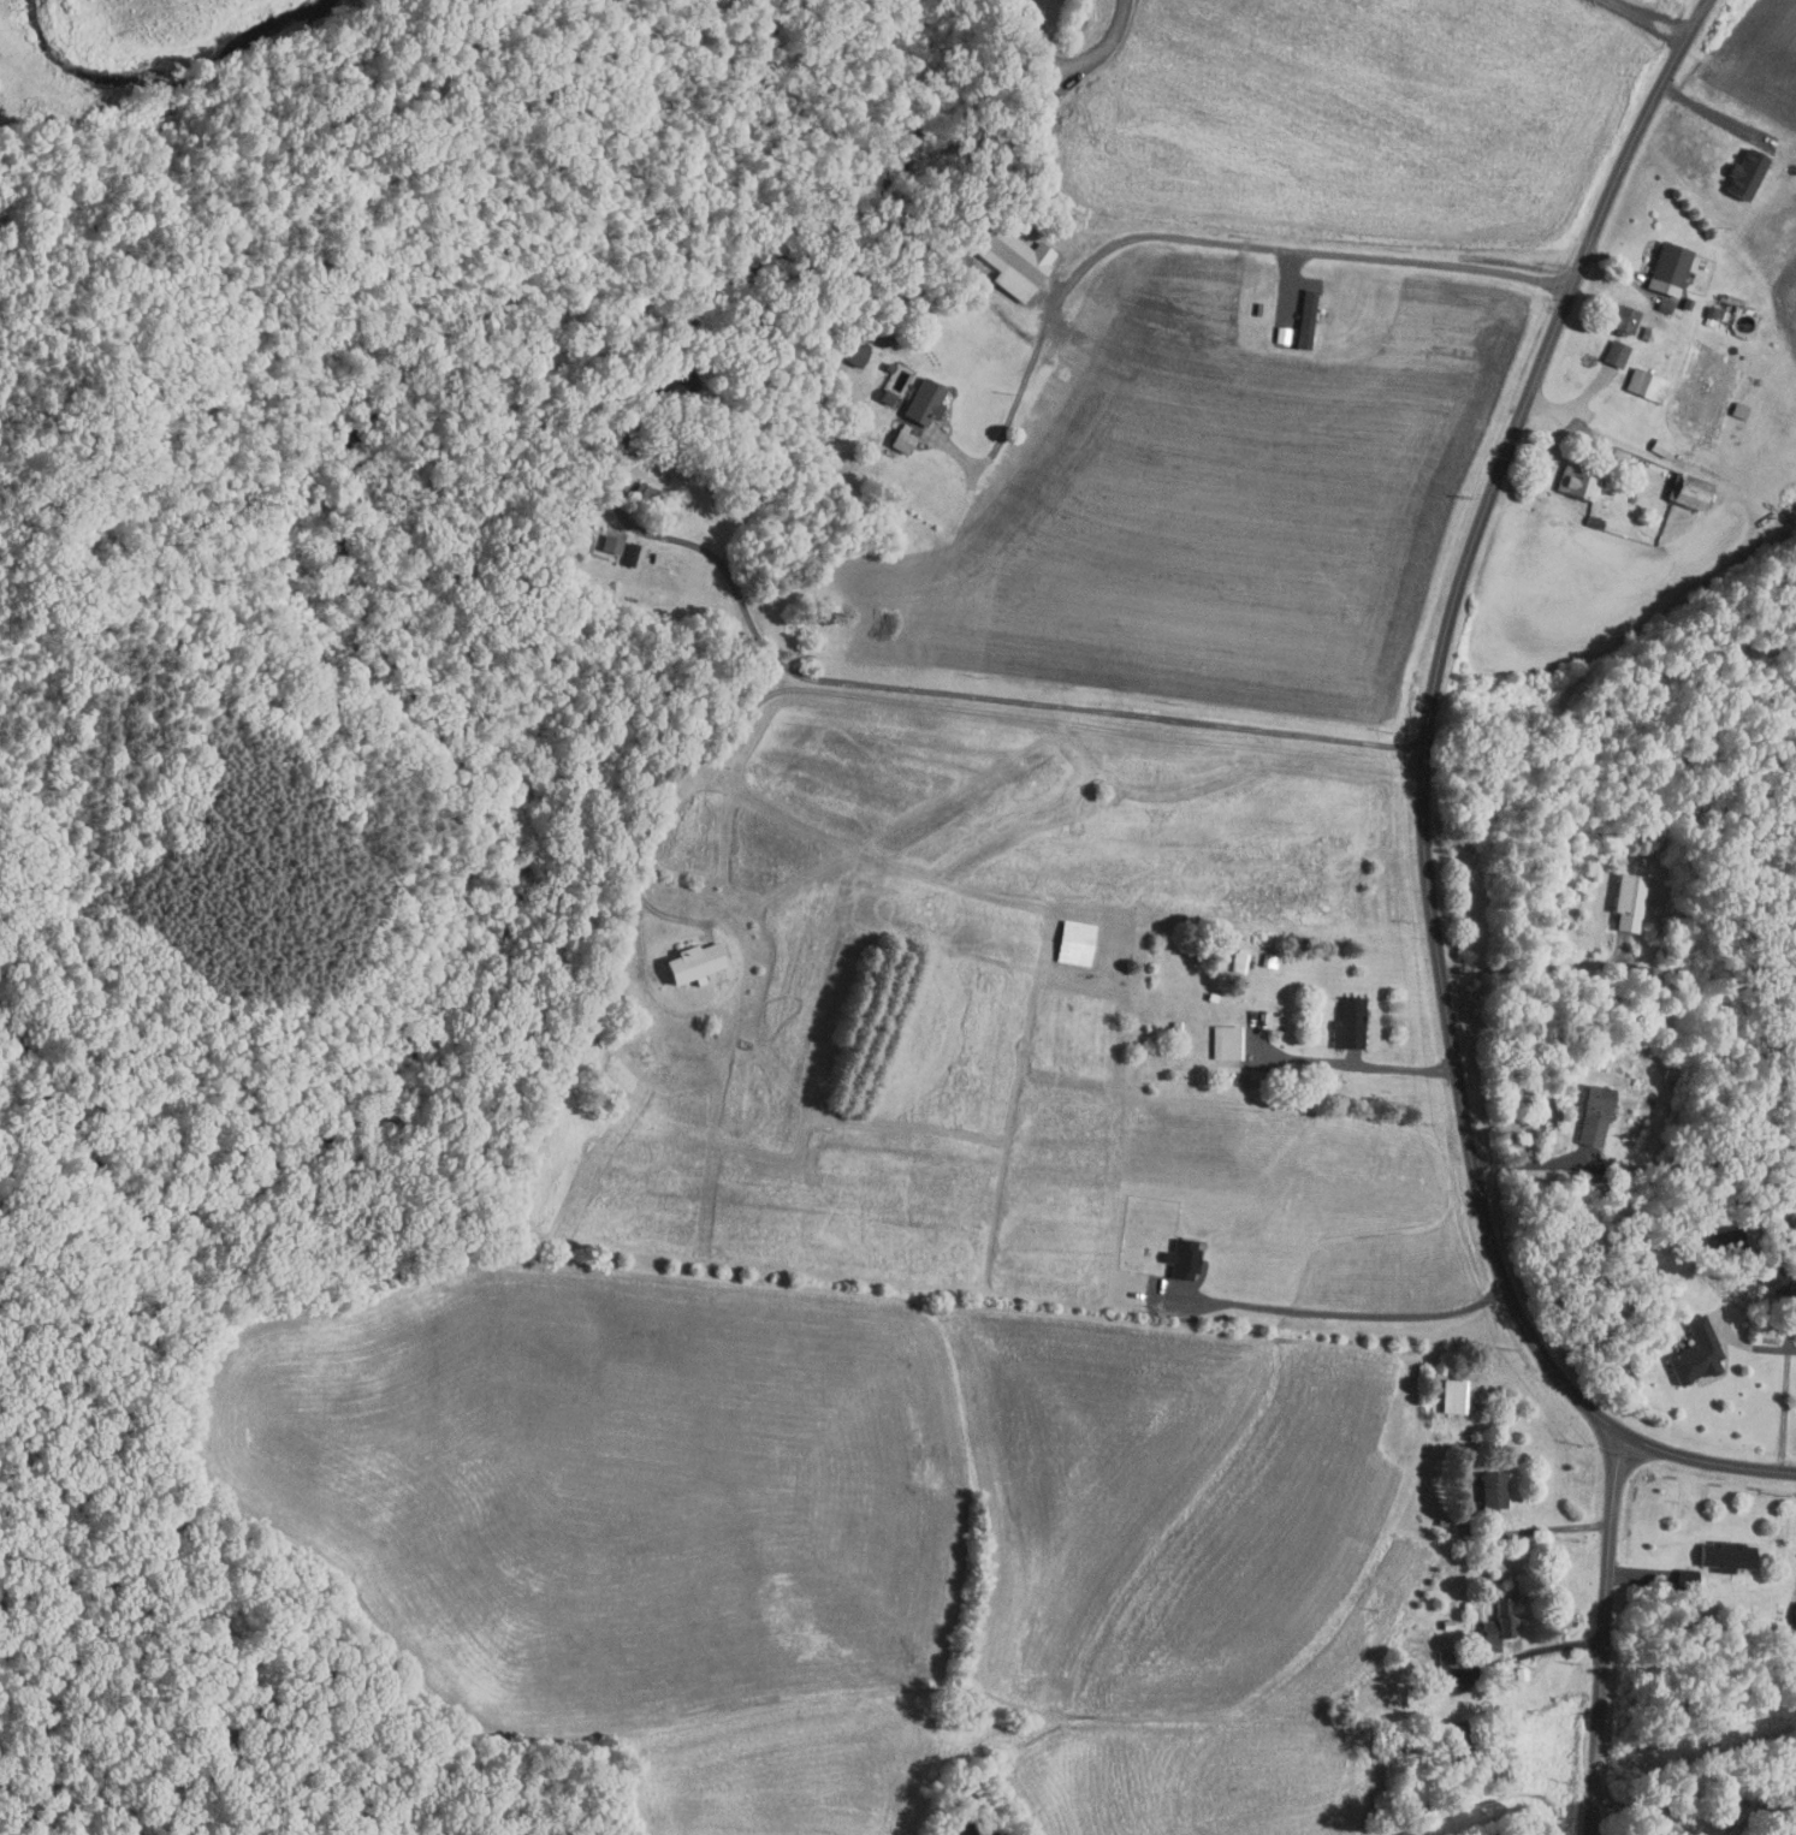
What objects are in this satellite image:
road: (1712, 113)
building: (1742, 173)
road: (1191, 238)
building: (1008, 259)
building: (1665, 272)
building: (1620, 319)
building: (853, 352)
building: (1614, 352)
building: (893, 381)
building: (1646, 384)
building: (921, 402)
road: (1571, 405)
building: (899, 440)
building: (1659, 447)
building: (1573, 482)
building: (1685, 491)
building: (609, 544)
building: (628, 554)
road: (943, 694)
road: (936, 706)
road: (1421, 806)
building: (1626, 901)
building: (1072, 942)
building: (689, 963)
road: (1536, 969)
building: (1347, 1023)
building: (1223, 1041)
road: (1362, 1069)
building: (1591, 1115)
road: (1528, 1163)
road: (1351, 1317)
road: (1760, 1349)
building: (1694, 1353)
road: (1784, 1386)
building: (1492, 1491)
road: (1540, 1531)
building: (1724, 1555)
road: (1636, 1575)
building: (1792, 1614)
building: (1498, 1625)
road: (1604, 1634)
road: (1545, 1649)
building: (1447, 1671)
road: (1638, 1815)

